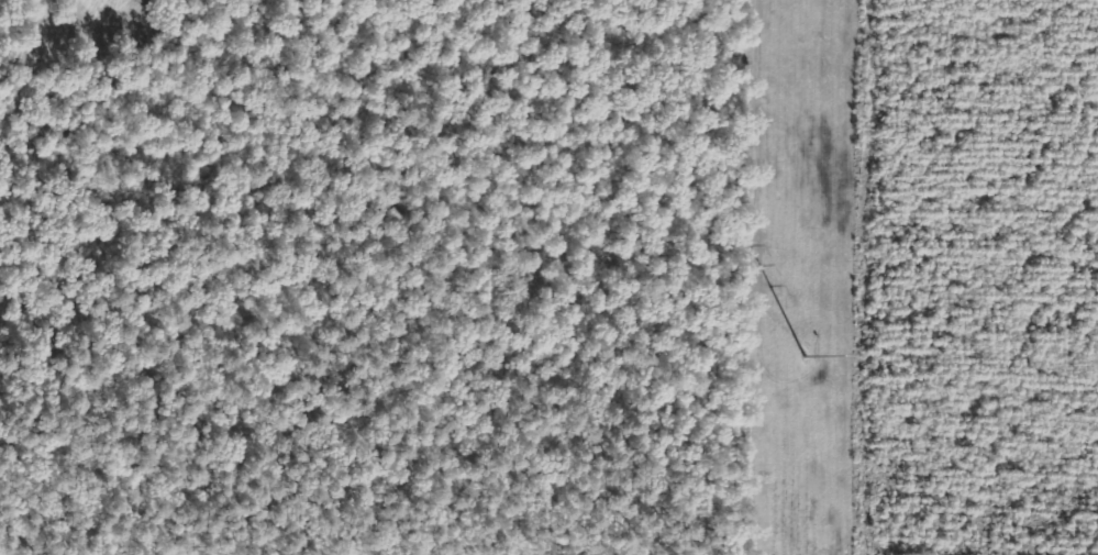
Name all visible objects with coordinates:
road: (42, 169)

